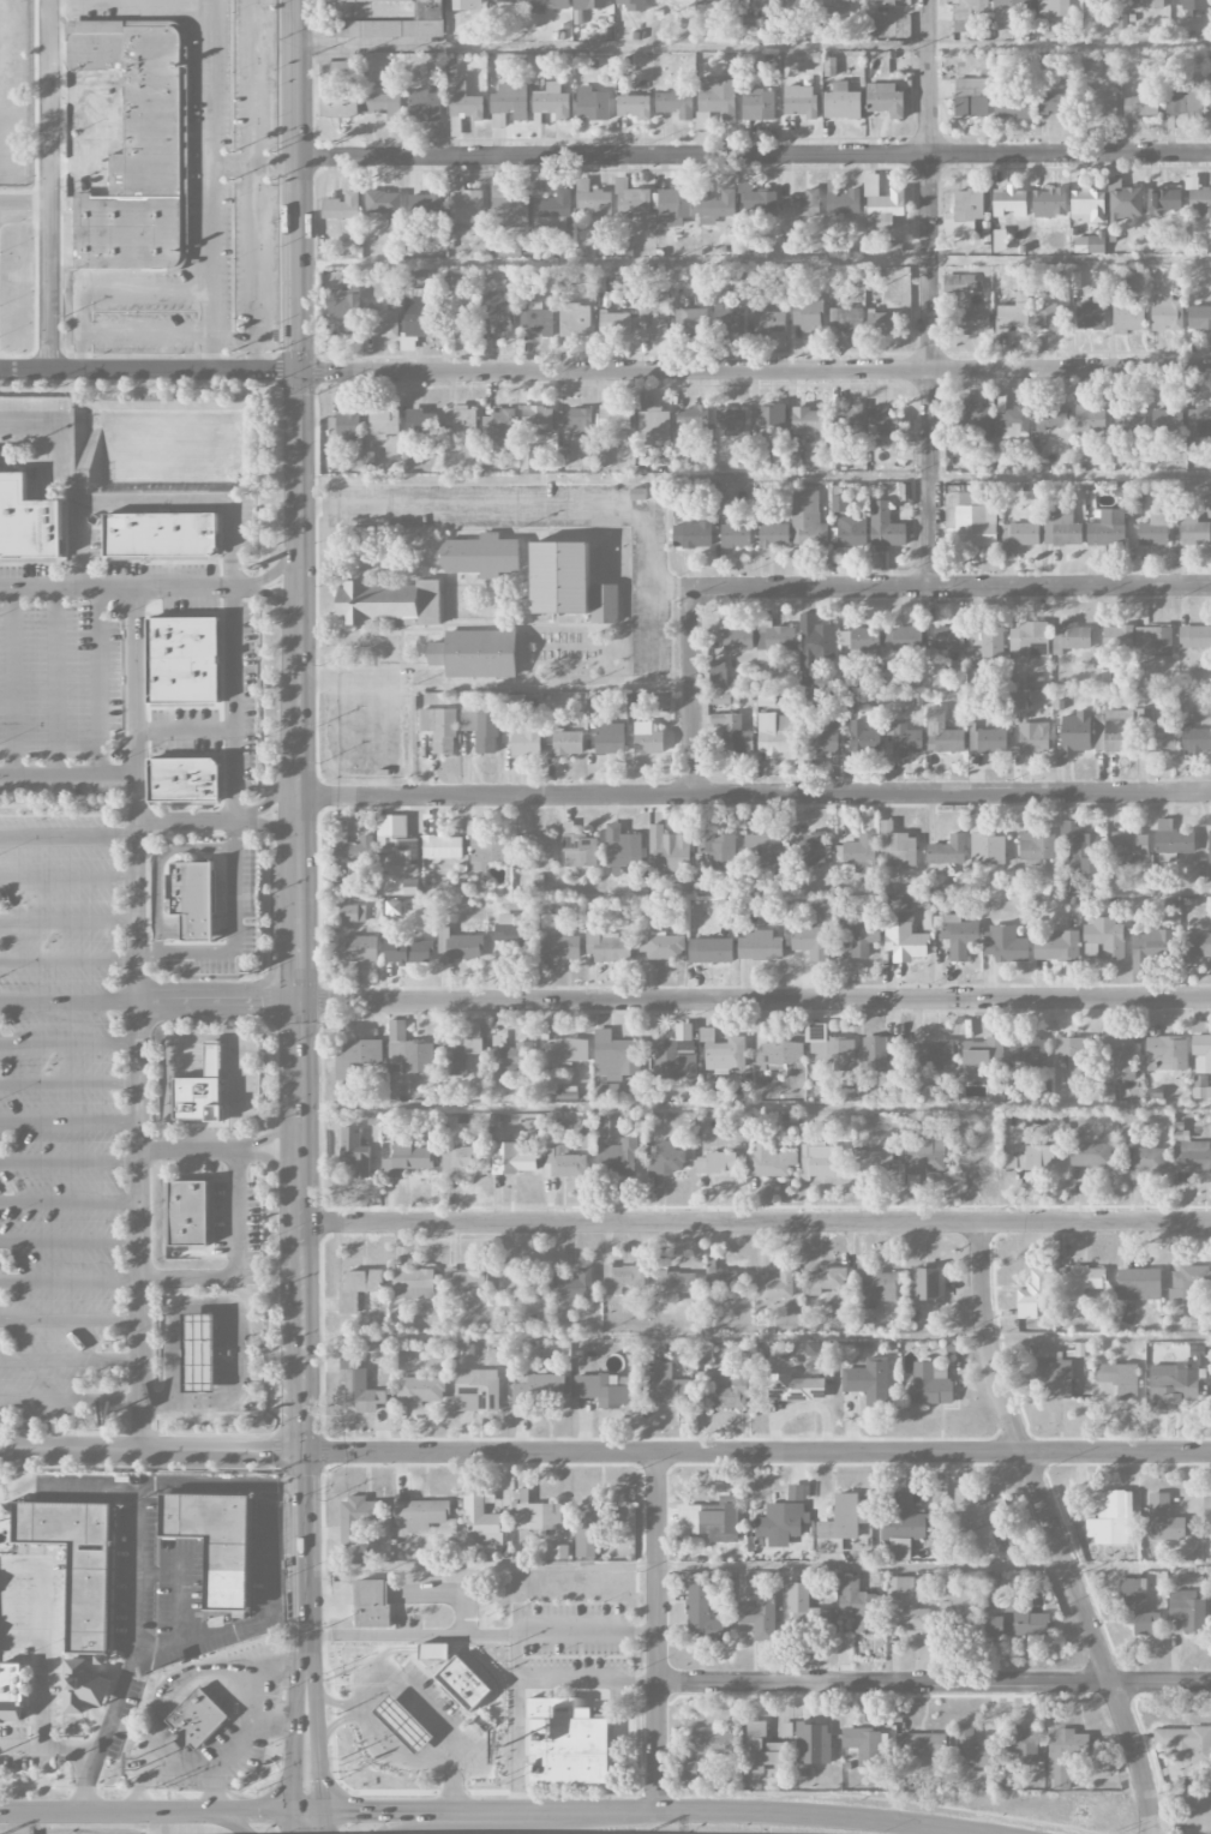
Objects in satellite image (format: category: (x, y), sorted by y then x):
road: (128, 1)
building: (506, 1)
building: (883, 1)
building: (715, 2)
building: (761, 4)
building: (796, 4)
building: (1152, 4)
building: (1191, 4)
building: (463, 5)
building: (550, 5)
building: (588, 5)
building: (630, 5)
building: (835, 7)
building: (1053, 7)
building: (1008, 8)
building: (969, 13)
building: (430, 19)
building: (366, 29)
road: (367, 43)
building: (793, 67)
building: (334, 68)
building: (1210, 94)
building: (971, 97)
building: (885, 100)
building: (510, 101)
building: (799, 101)
building: (552, 102)
building: (676, 102)
building: (1101, 102)
building: (1186, 102)
building: (715, 103)
building: (841, 103)
building: (462, 104)
building: (592, 104)
building: (757, 104)
building: (1055, 104)
building: (340, 106)
building: (383, 106)
building: (424, 106)
building: (633, 107)
building: (1013, 107)
building: (1141, 107)
building: (133, 148)
road: (753, 156)
road: (252, 163)
road: (252, 182)
road: (49, 184)
road: (209, 184)
building: (1199, 198)
road: (24, 199)
building: (593, 199)
building: (631, 199)
building: (1164, 199)
building: (756, 200)
building: (1009, 200)
building: (464, 203)
building: (844, 203)
building: (1049, 203)
building: (798, 204)
building: (1126, 204)
building: (882, 205)
building: (1087, 205)
building: (341, 206)
building: (384, 206)
building: (506, 206)
building: (672, 206)
building: (717, 208)
building: (424, 209)
building: (550, 211)
building: (965, 214)
building: (1089, 245)
building: (623, 247)
building: (735, 282)
building: (961, 283)
road: (103, 288)
road: (929, 292)
building: (601, 296)
building: (419, 306)
building: (343, 310)
building: (1165, 311)
building: (497, 313)
building: (653, 314)
building: (1013, 314)
building: (1049, 314)
building: (808, 316)
building: (1091, 316)
building: (1199, 318)
building: (535, 319)
building: (574, 319)
building: (729, 319)
building: (1127, 319)
building: (382, 320)
building: (690, 320)
building: (769, 320)
building: (845, 320)
building: (972, 320)
building: (882, 323)
building: (463, 324)
building: (615, 324)
road: (145, 330)
road: (232, 342)
road: (296, 353)
road: (149, 367)
road: (278, 368)
road: (754, 370)
road: (314, 371)
traffic signals: (298, 372)
road: (296, 385)
building: (613, 418)
building: (771, 418)
building: (1050, 418)
building: (1129, 418)
building: (461, 419)
building: (538, 419)
building: (691, 419)
building: (1167, 419)
building: (1199, 419)
building: (384, 420)
building: (1090, 420)
building: (420, 421)
building: (576, 421)
building: (732, 421)
building: (808, 421)
building: (847, 421)
building: (976, 421)
building: (882, 422)
building: (1013, 424)
building: (499, 425)
building: (654, 427)
building: (342, 428)
building: (762, 454)
building: (528, 463)
road: (66, 475)
road: (523, 503)
building: (838, 504)
building: (971, 517)
building: (26, 520)
building: (807, 520)
building: (1061, 527)
building: (885, 528)
building: (1107, 529)
building: (1193, 531)
building: (851, 532)
building: (161, 533)
building: (691, 535)
building: (773, 535)
building: (735, 537)
building: (1018, 538)
building: (481, 557)
road: (277, 569)
building: (559, 579)
road: (948, 585)
road: (126, 587)
road: (280, 603)
building: (391, 603)
building: (604, 604)
road: (652, 625)
building: (773, 635)
building: (1193, 636)
building: (948, 637)
building: (1071, 637)
building: (1117, 637)
building: (861, 639)
building: (887, 639)
building: (906, 639)
building: (737, 640)
building: (815, 641)
building: (988, 641)
building: (1029, 641)
building: (1153, 641)
building: (475, 654)
building: (184, 659)
building: (718, 675)
road: (342, 678)
road: (98, 679)
building: (1102, 679)
road: (12, 681)
road: (55, 681)
road: (689, 691)
road: (232, 700)
building: (719, 700)
building: (849, 700)
building: (1019, 701)
building: (512, 703)
building: (661, 705)
building: (592, 715)
building: (1143, 718)
road: (383, 719)
road: (300, 726)
building: (439, 729)
building: (481, 729)
road: (182, 730)
building: (1114, 731)
building: (942, 732)
building: (1075, 733)
building: (733, 735)
building: (775, 736)
building: (825, 738)
building: (1033, 738)
building: (1161, 738)
building: (1194, 738)
building: (610, 739)
building: (647, 739)
building: (526, 741)
building: (862, 741)
building: (905, 741)
building: (991, 741)
building: (568, 743)
road: (66, 773)
building: (185, 779)
road: (756, 796)
road: (277, 797)
road: (192, 817)
road: (277, 832)
road: (67, 835)
building: (1171, 838)
building: (397, 845)
building: (440, 846)
building: (1037, 846)
building: (1127, 847)
building: (622, 849)
building: (766, 849)
building: (1079, 849)
building: (538, 850)
building: (714, 850)
building: (809, 850)
building: (899, 850)
building: (987, 850)
building: (354, 851)
building: (486, 851)
building: (1207, 851)
building: (667, 852)
building: (859, 852)
building: (947, 852)
road: (157, 865)
road: (67, 880)
building: (191, 887)
building: (412, 887)
building: (392, 909)
building: (352, 913)
road: (67, 919)
road: (197, 925)
building: (197, 927)
building: (510, 930)
building: (814, 933)
building: (863, 936)
building: (904, 937)
building: (959, 937)
building: (1103, 939)
building: (1153, 942)
building: (1197, 943)
building: (1005, 945)
building: (558, 946)
building: (607, 946)
building: (660, 946)
building: (760, 946)
building: (458, 947)
building: (1056, 947)
building: (358, 949)
building: (408, 949)
building: (709, 951)
road: (67, 959)
road: (754, 1000)
road: (68, 1001)
road: (216, 1001)
traffic signals: (296, 1001)
road: (137, 1018)
road: (68, 1043)
building: (829, 1048)
building: (460, 1049)
building: (723, 1051)
building: (1201, 1051)
building: (408, 1053)
building: (563, 1053)
building: (879, 1053)
building: (1165, 1053)
building: (780, 1054)
building: (1027, 1054)
building: (1073, 1055)
building: (355, 1056)
building: (615, 1056)
building: (934, 1056)
building: (1120, 1056)
building: (212, 1057)
building: (981, 1057)
building: (673, 1059)
building: (512, 1060)
road: (163, 1066)
road: (68, 1081)
building: (605, 1092)
building: (566, 1096)
building: (197, 1098)
road: (68, 1121)
building: (610, 1126)
building: (587, 1128)
road: (281, 1131)
road: (197, 1149)
building: (354, 1152)
building: (1090, 1155)
building: (924, 1156)
building: (1194, 1156)
building: (617, 1157)
building: (406, 1158)
building: (665, 1158)
building: (1032, 1158)
building: (460, 1159)
building: (512, 1159)
building: (822, 1159)
road: (68, 1161)
building: (1145, 1161)
building: (562, 1162)
building: (769, 1162)
building: (715, 1163)
building: (873, 1163)
road: (281, 1167)
road: (68, 1201)
building: (187, 1213)
road: (236, 1215)
road: (755, 1224)
road: (70, 1240)
road: (70, 1278)
building: (622, 1278)
building: (466, 1281)
building: (826, 1281)
building: (518, 1282)
building: (1080, 1282)
building: (1187, 1282)
building: (413, 1284)
building: (675, 1284)
building: (721, 1284)
building: (928, 1284)
building: (1138, 1284)
building: (574, 1285)
building: (774, 1285)
building: (877, 1287)
building: (358, 1288)
building: (1032, 1295)
building: (843, 1312)
road: (230, 1318)
road: (70, 1319)
building: (814, 1349)
building: (199, 1351)
gas station: (199, 1351)
building: (705, 1355)
road: (70, 1360)
building: (1054, 1378)
building: (1119, 1379)
building: (1175, 1380)
building: (868, 1382)
building: (1210, 1382)
building: (930, 1384)
building: (359, 1388)
building: (540, 1388)
building: (667, 1388)
building: (726, 1389)
building: (795, 1389)
building: (476, 1390)
building: (604, 1390)
building: (420, 1391)
road: (70, 1400)
road: (151, 1451)
road: (757, 1451)
traffic signals: (305, 1452)
road: (268, 1484)
building: (420, 1515)
building: (536, 1516)
building: (1207, 1516)
building: (356, 1517)
building: (1163, 1518)
building: (711, 1520)
building: (1111, 1520)
building: (781, 1522)
building: (481, 1523)
building: (841, 1523)
building: (982, 1524)
building: (901, 1527)
building: (587, 1529)
road: (1054, 1529)
building: (216, 1541)
building: (557, 1552)
road: (862, 1566)
road: (305, 1570)
road: (40, 1580)
road: (180, 1583)
building: (76, 1593)
building: (372, 1602)
building: (906, 1606)
building: (861, 1607)
building: (1139, 1608)
building: (804, 1610)
building: (1187, 1610)
building: (701, 1614)
building: (960, 1614)
building: (1011, 1616)
building: (757, 1617)
road: (655, 1632)
road: (19, 1636)
road: (412, 1638)
parking lot: (560, 1640)
road: (133, 1653)
building: (433, 1653)
road: (516, 1655)
road: (235, 1668)
road: (933, 1682)
building: (462, 1684)
building: (11, 1691)
road: (38, 1691)
road: (337, 1704)
road: (421, 1710)
building: (196, 1719)
road: (338, 1720)
road: (274, 1725)
building: (403, 1725)
gas station: (403, 1725)
road: (132, 1728)
building: (1185, 1743)
road: (152, 1744)
building: (712, 1744)
building: (813, 1744)
road: (50, 1745)
building: (568, 1745)
building: (921, 1745)
building: (1021, 1745)
building: (864, 1746)
road: (295, 1748)
road: (317, 1748)
road: (234, 1749)
building: (762, 1749)
building: (970, 1749)
building: (1065, 1755)
road: (413, 1760)
building: (687, 1770)
road: (216, 1786)
traffic signals: (293, 1787)
road: (246, 1811)
road: (307, 1811)
traffic signals: (343, 1811)
road: (373, 1811)
road: (100, 1812)
road: (493, 1812)
road: (607, 1815)
road: (815, 1815)
road: (222, 1821)
road: (293, 1822)
road: (322, 1822)
road: (404, 1822)
traffic signals: (322, 1833)

